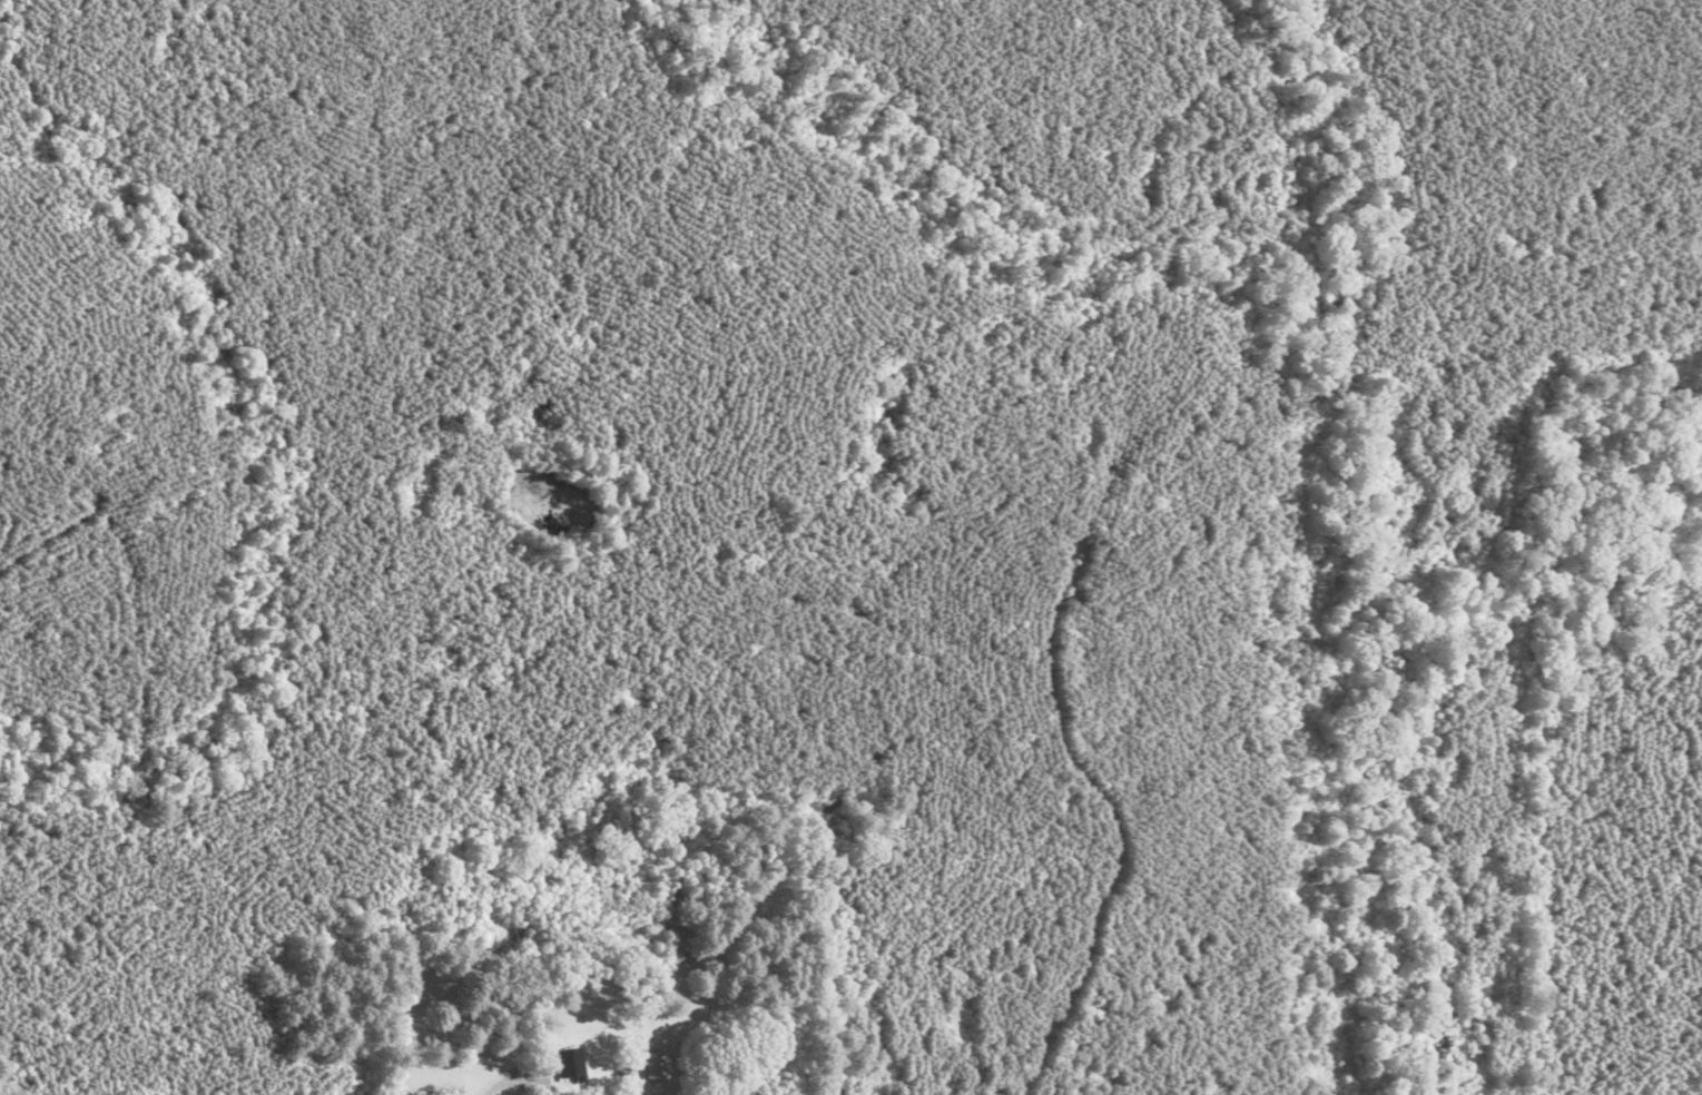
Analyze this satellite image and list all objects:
building: (835, 837)
building: (570, 1065)
building: (657, 1066)

